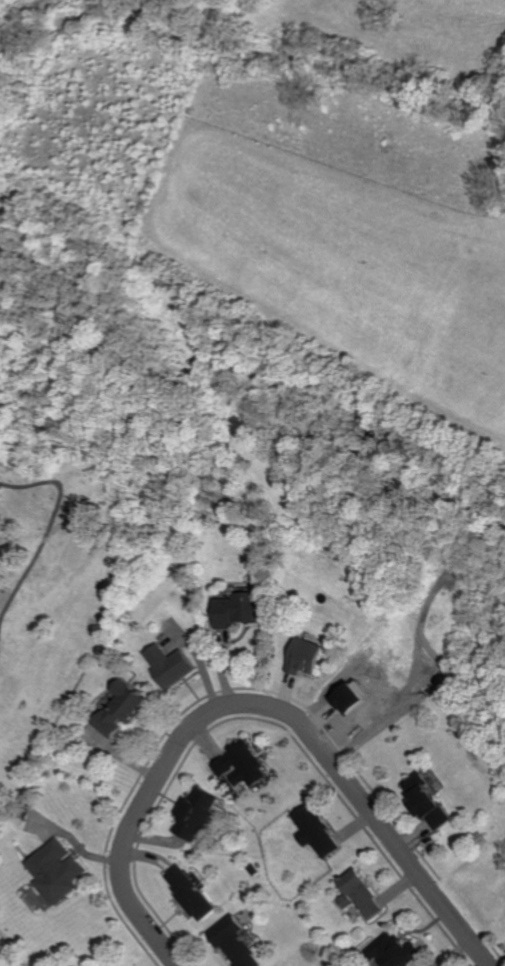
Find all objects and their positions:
park: (57, 593)
building: (235, 610)
building: (305, 656)
building: (168, 665)
road: (262, 704)
building: (121, 709)
building: (239, 764)
building: (428, 803)
building: (194, 814)
building: (314, 831)
building: (55, 871)
building: (188, 893)
building: (358, 895)
building: (234, 943)
park: (12, 950)
building: (393, 951)

